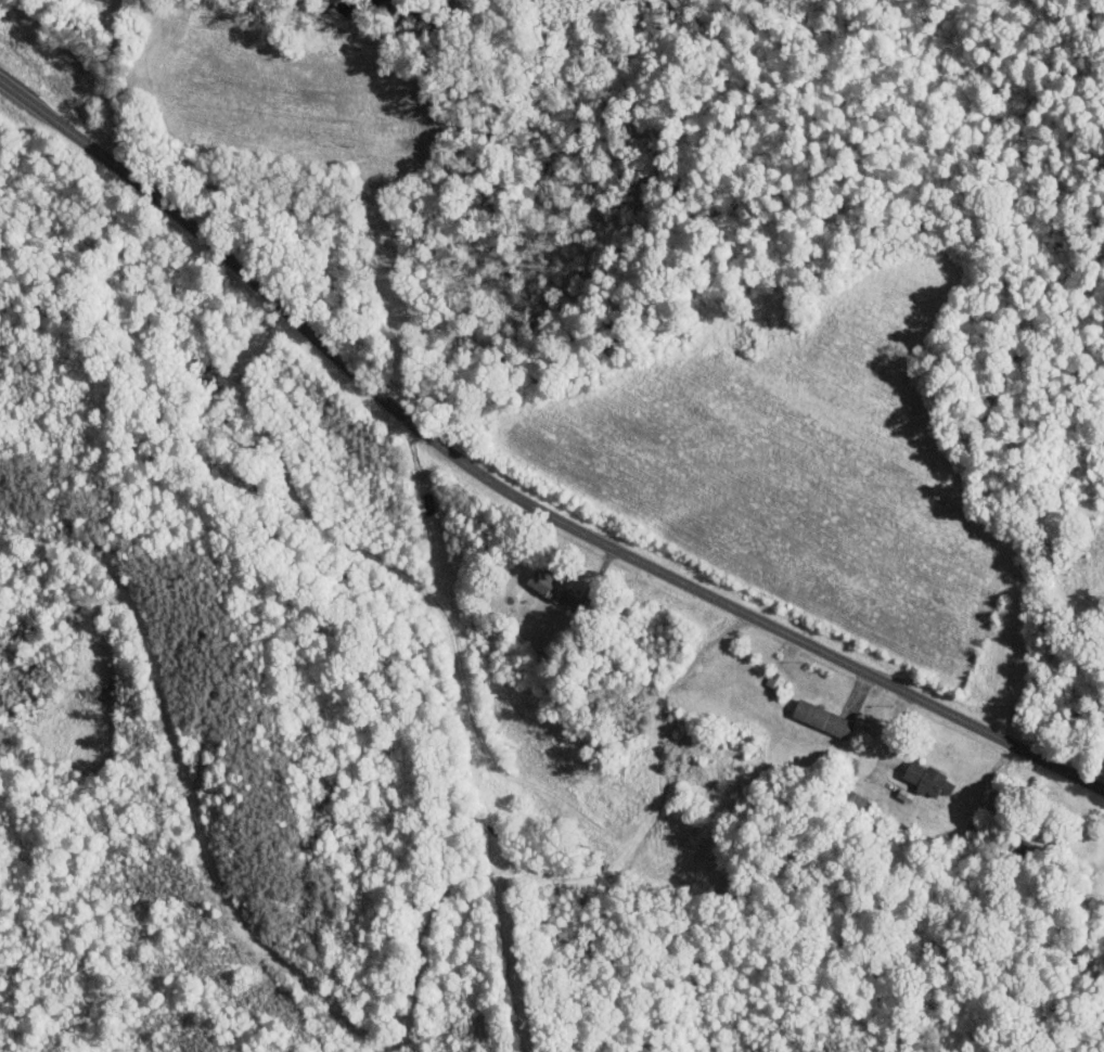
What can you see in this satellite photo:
road: (514, 492)
building: (543, 583)
building: (820, 718)
road: (883, 744)
building: (924, 778)

